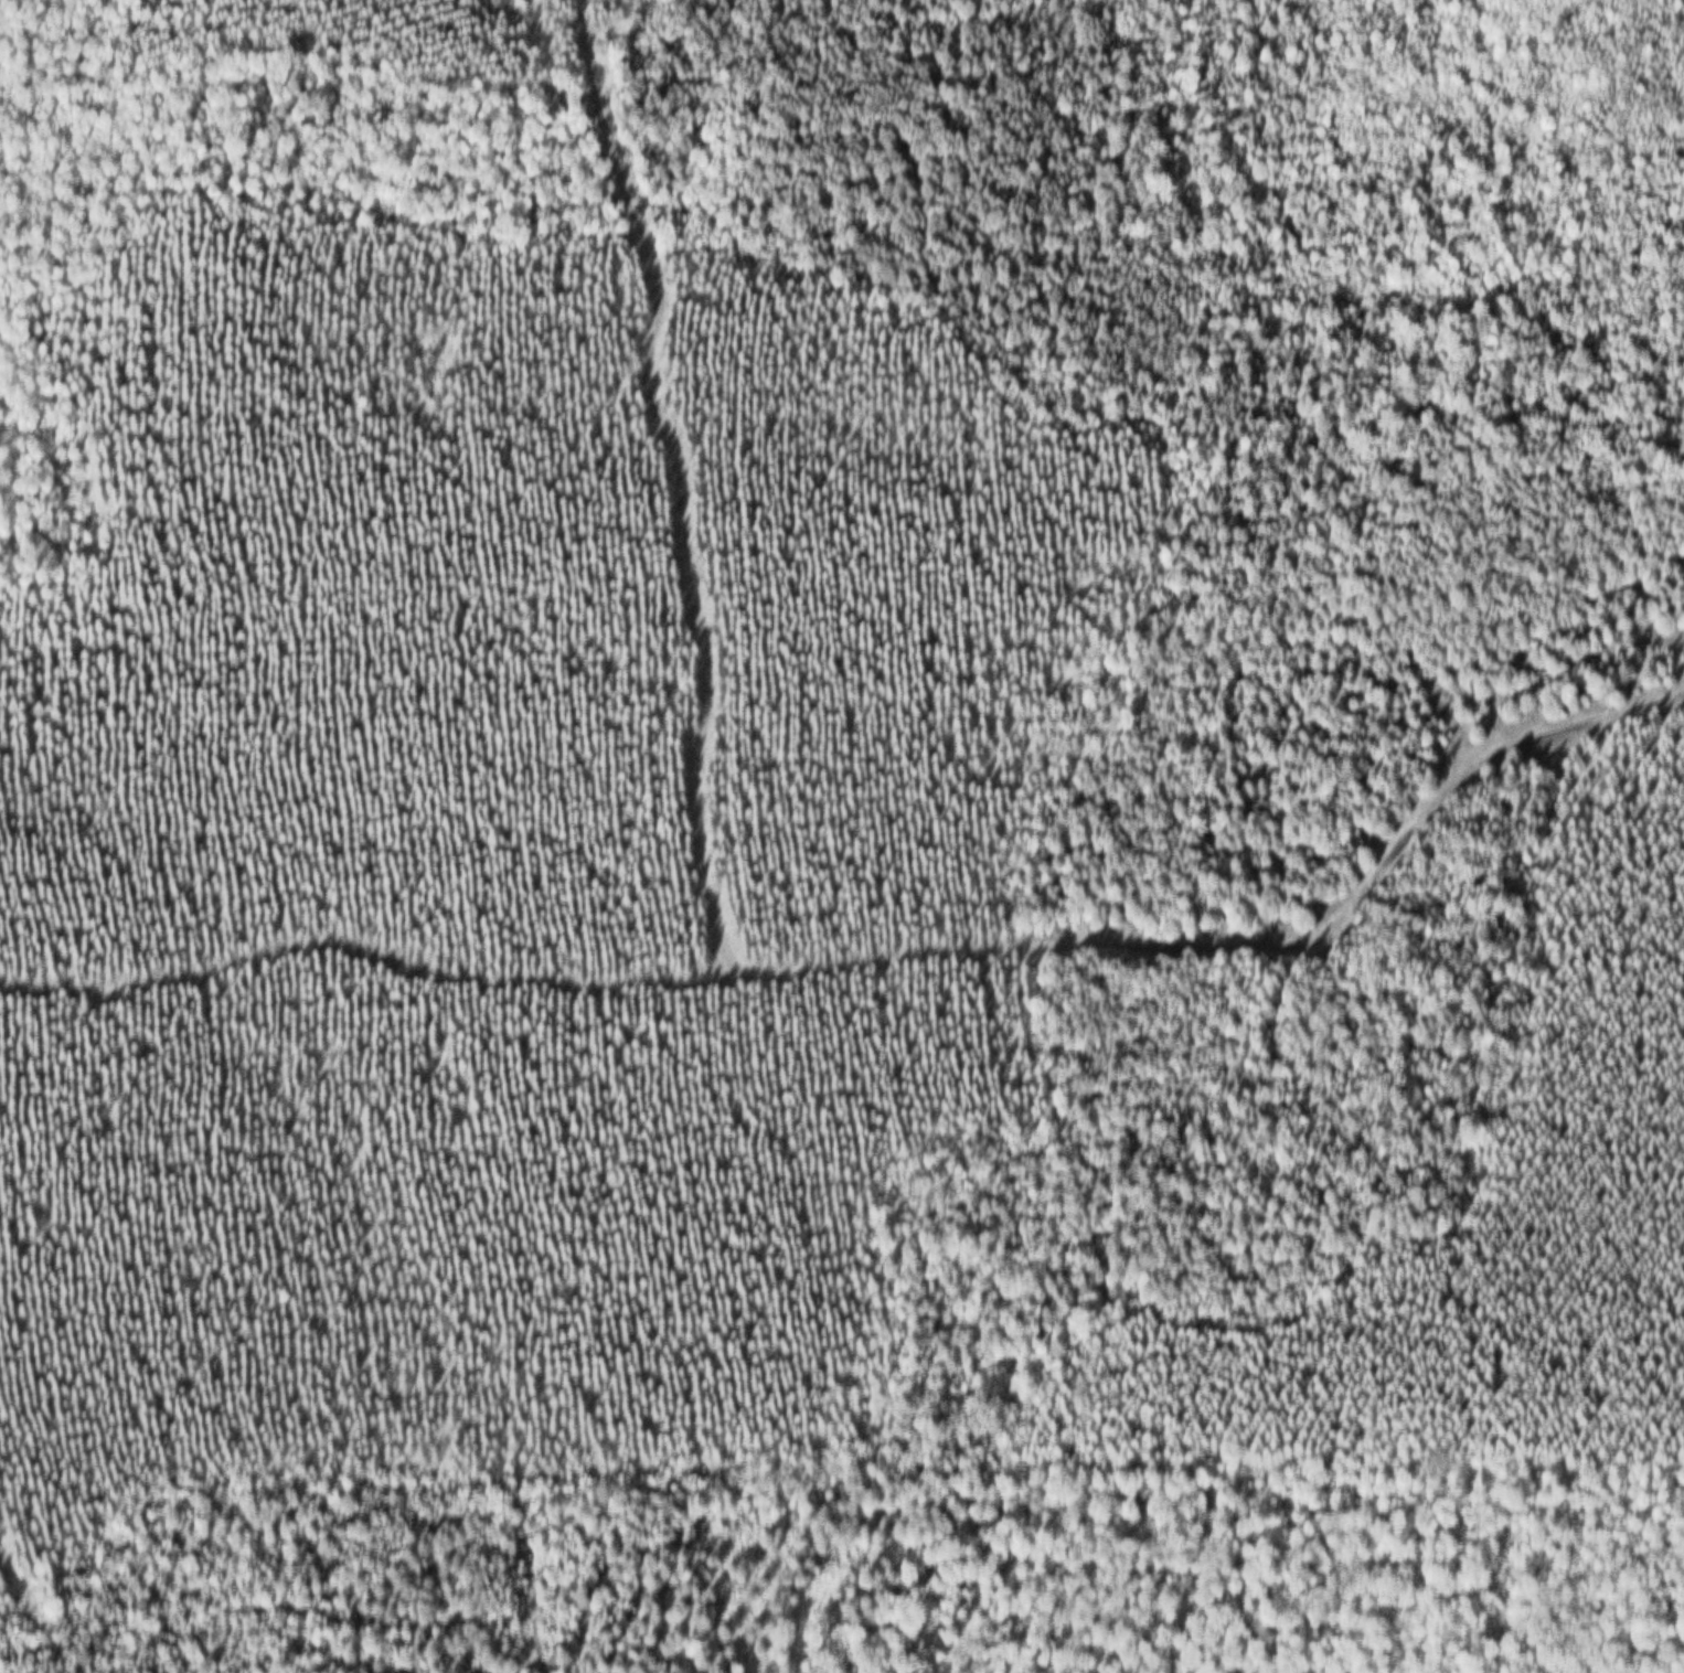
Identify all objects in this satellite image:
road: (881, 966)

